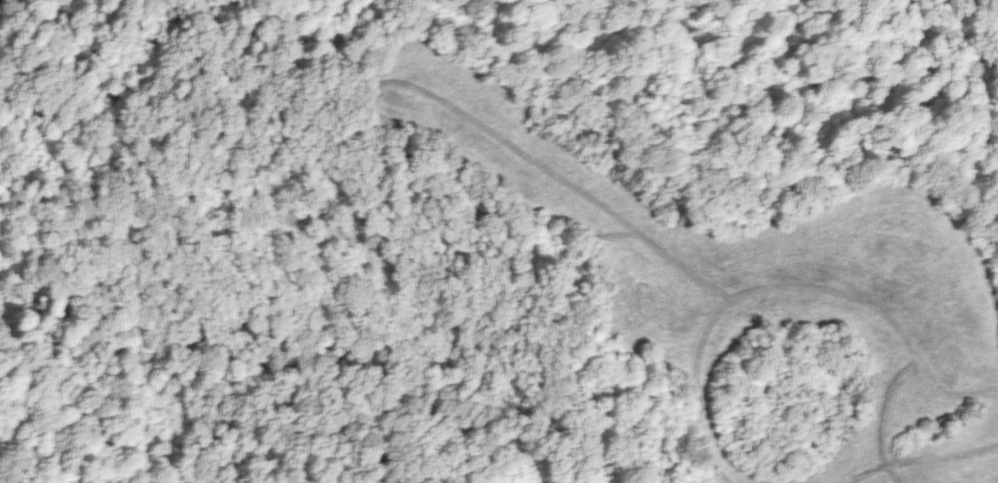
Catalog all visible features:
road: (4, 5)

